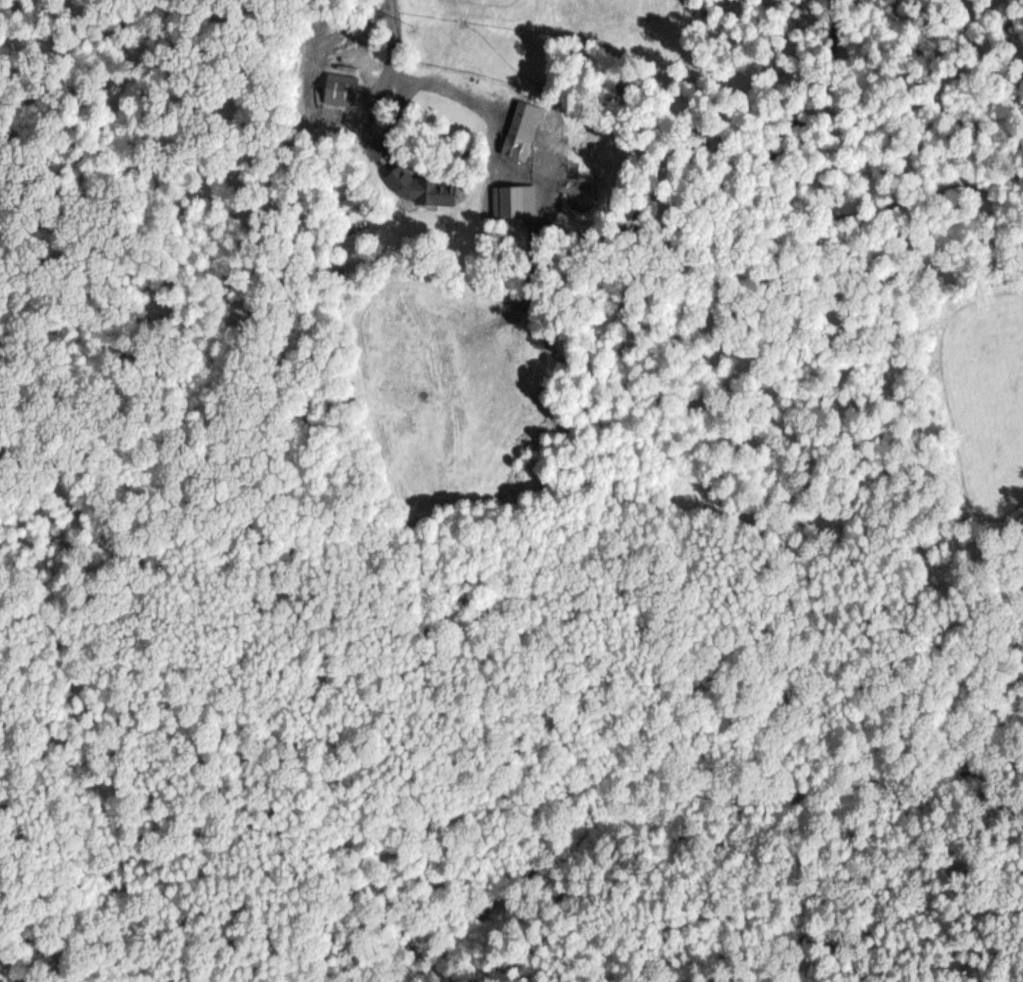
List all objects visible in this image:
road: (385, 42)
building: (341, 90)
building: (522, 130)

